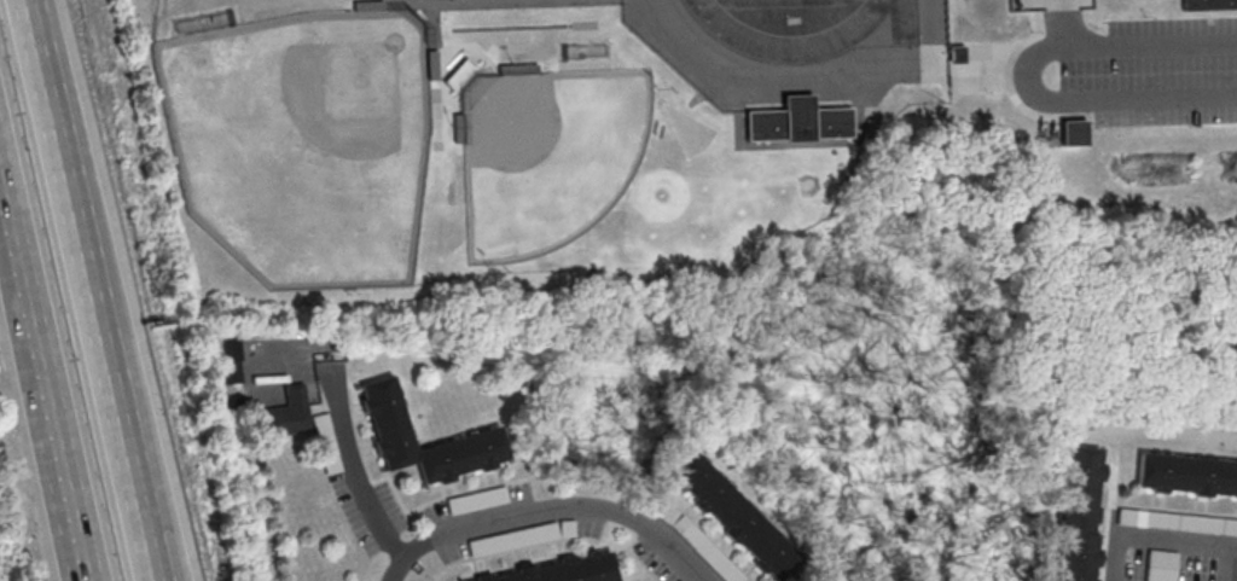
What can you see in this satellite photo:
building: (1209, 5)
track: (842, 30)
parking lot: (1157, 71)
road: (1026, 75)
building: (795, 121)
building: (1075, 132)
park: (302, 143)
park: (550, 156)
road: (106, 290)
road: (47, 361)
building: (231, 371)
building: (281, 414)
building: (481, 436)
road: (353, 471)
building: (1187, 473)
road: (547, 510)
building: (1081, 512)
building: (734, 515)
building: (1178, 522)
road: (1154, 538)
road: (1235, 553)
building: (1162, 565)
building: (563, 570)

